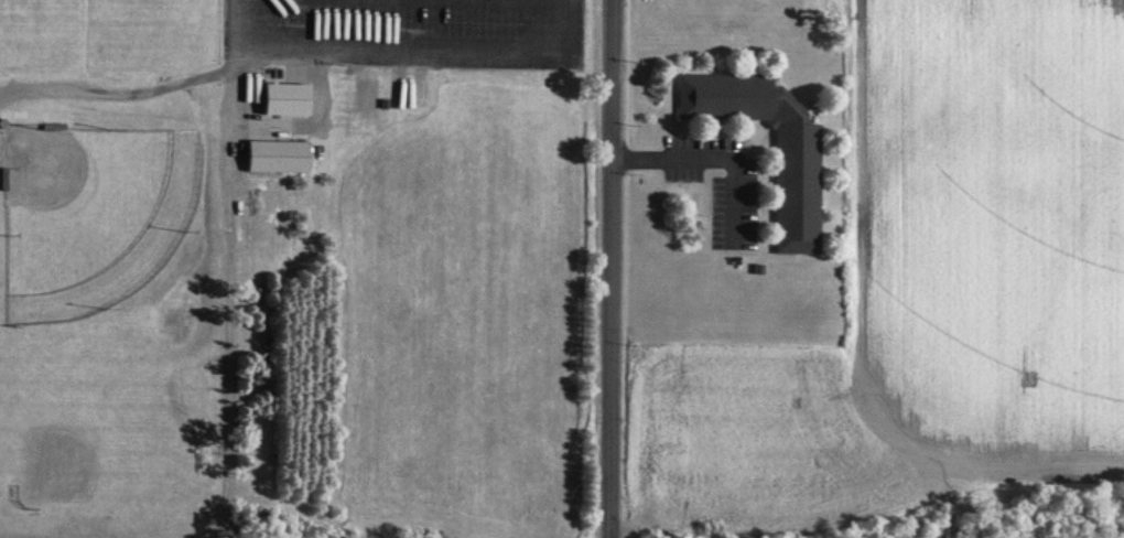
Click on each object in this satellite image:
road: (485, 1)
road: (406, 49)
road: (630, 80)
building: (407, 89)
building: (366, 98)
building: (284, 99)
building: (275, 158)
road: (713, 162)
building: (791, 190)
park: (91, 212)
road: (612, 268)

